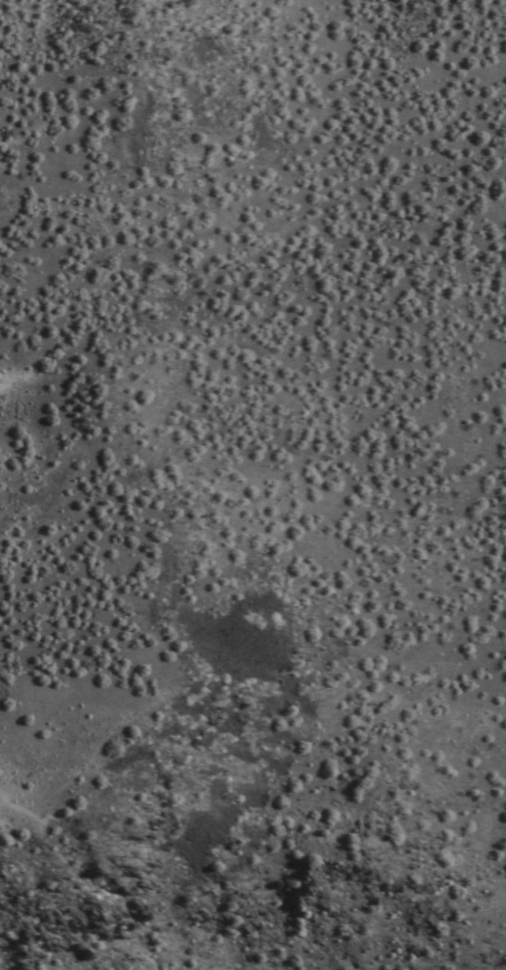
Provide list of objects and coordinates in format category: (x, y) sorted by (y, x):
road: (274, 511)
road: (10, 796)

